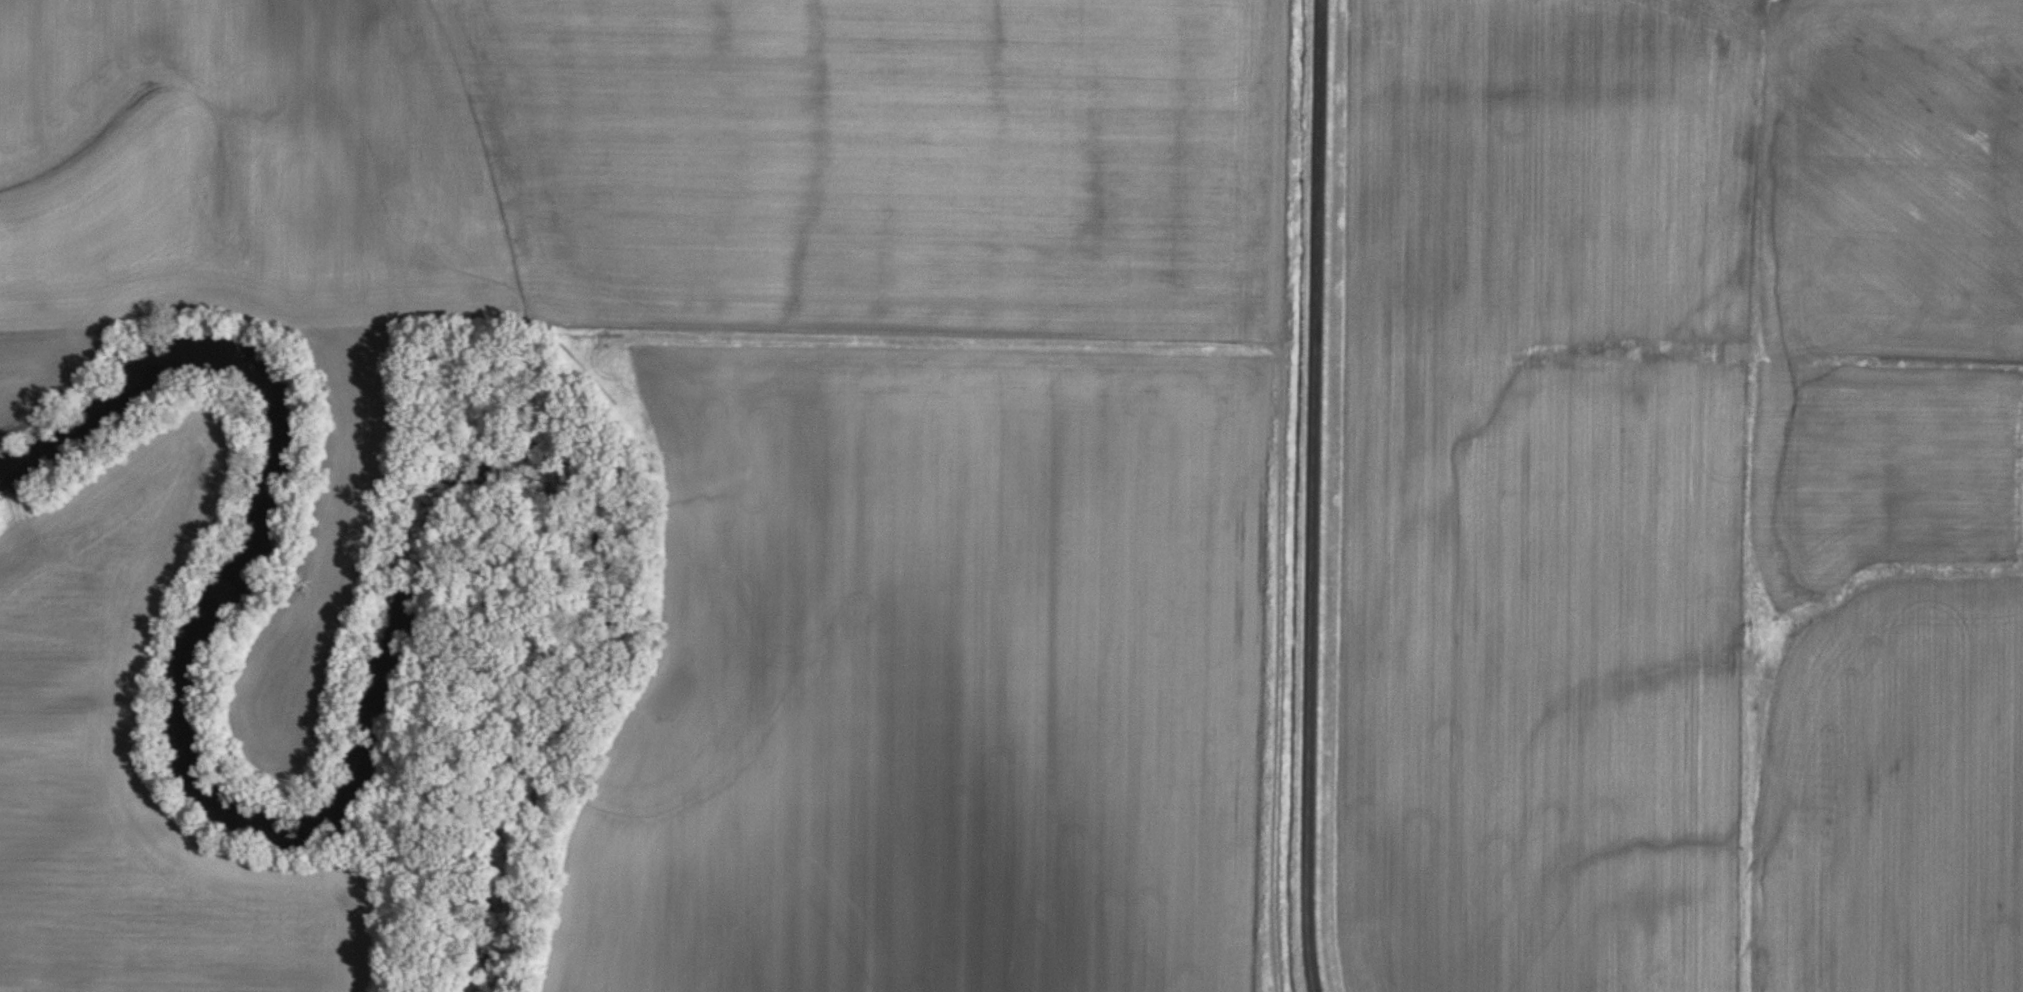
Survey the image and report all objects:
road: (1314, 496)

